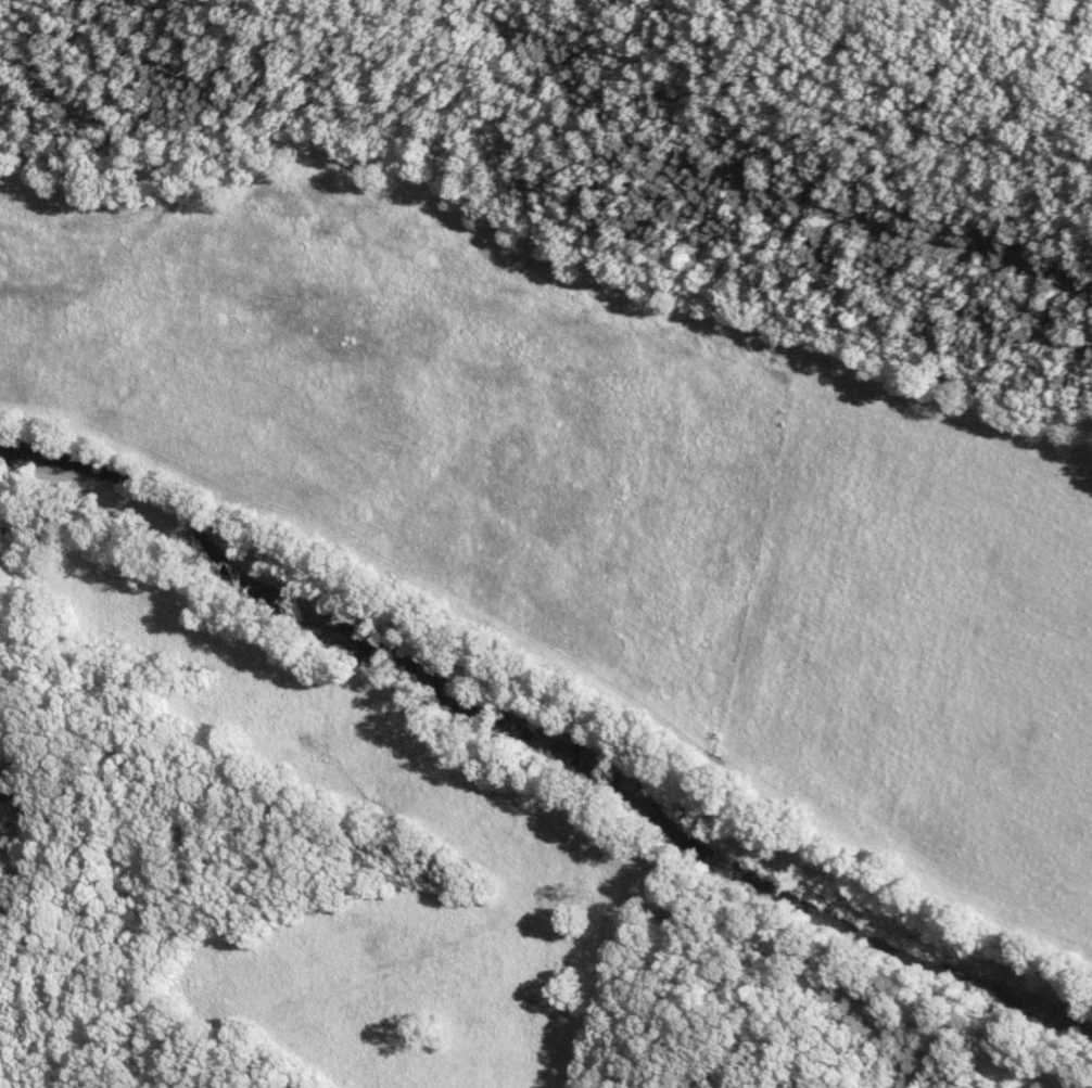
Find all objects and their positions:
road: (546, 229)
river: (548, 716)

